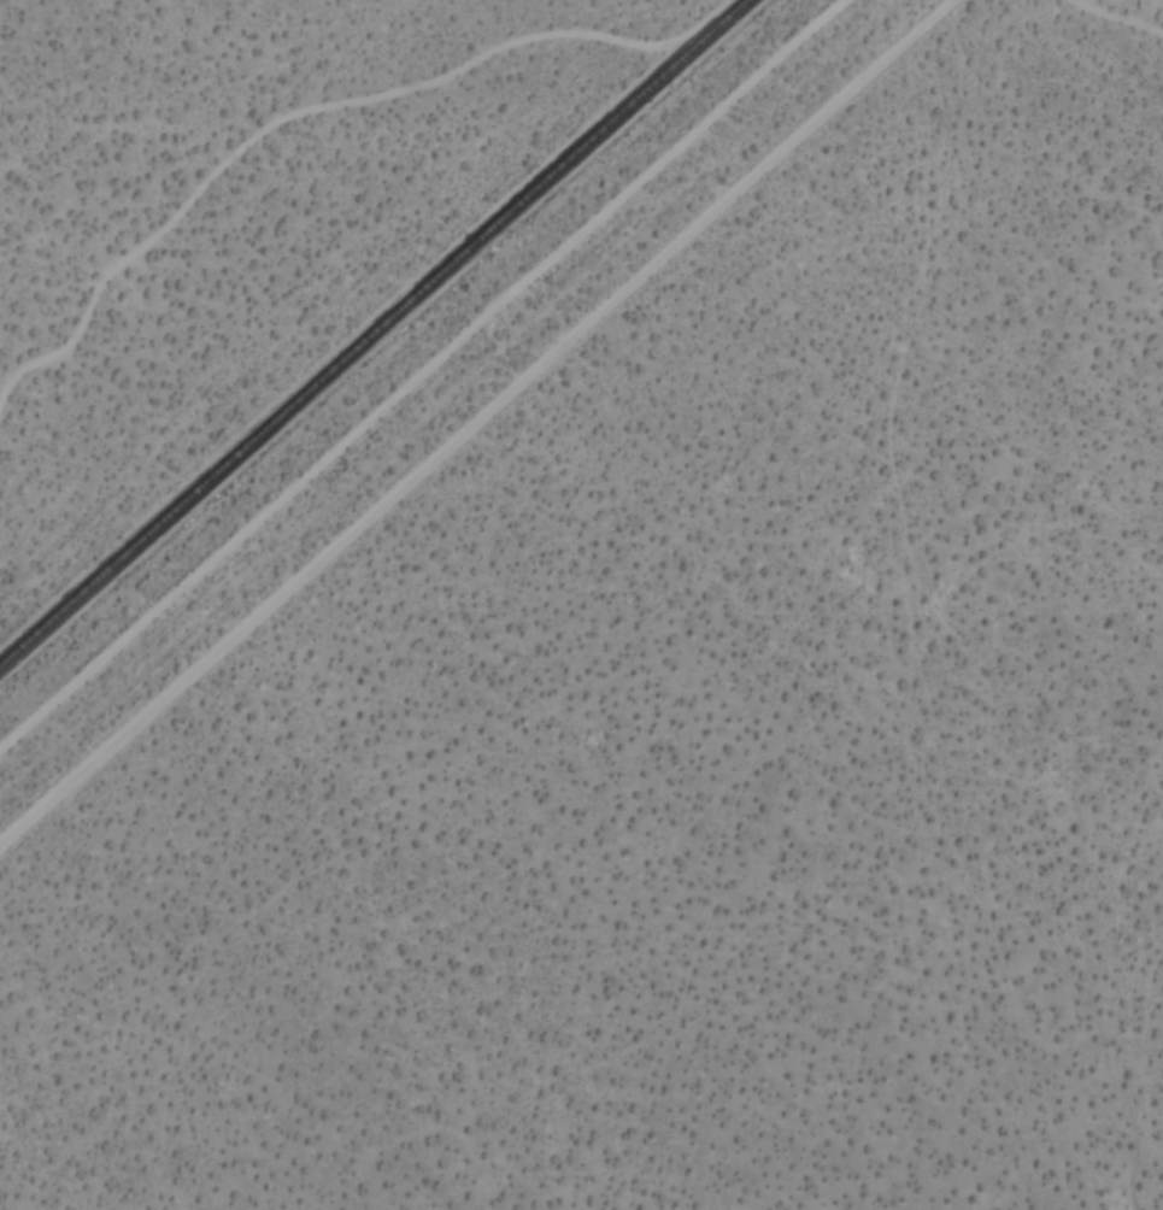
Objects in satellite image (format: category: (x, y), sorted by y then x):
railway: (371, 333)

